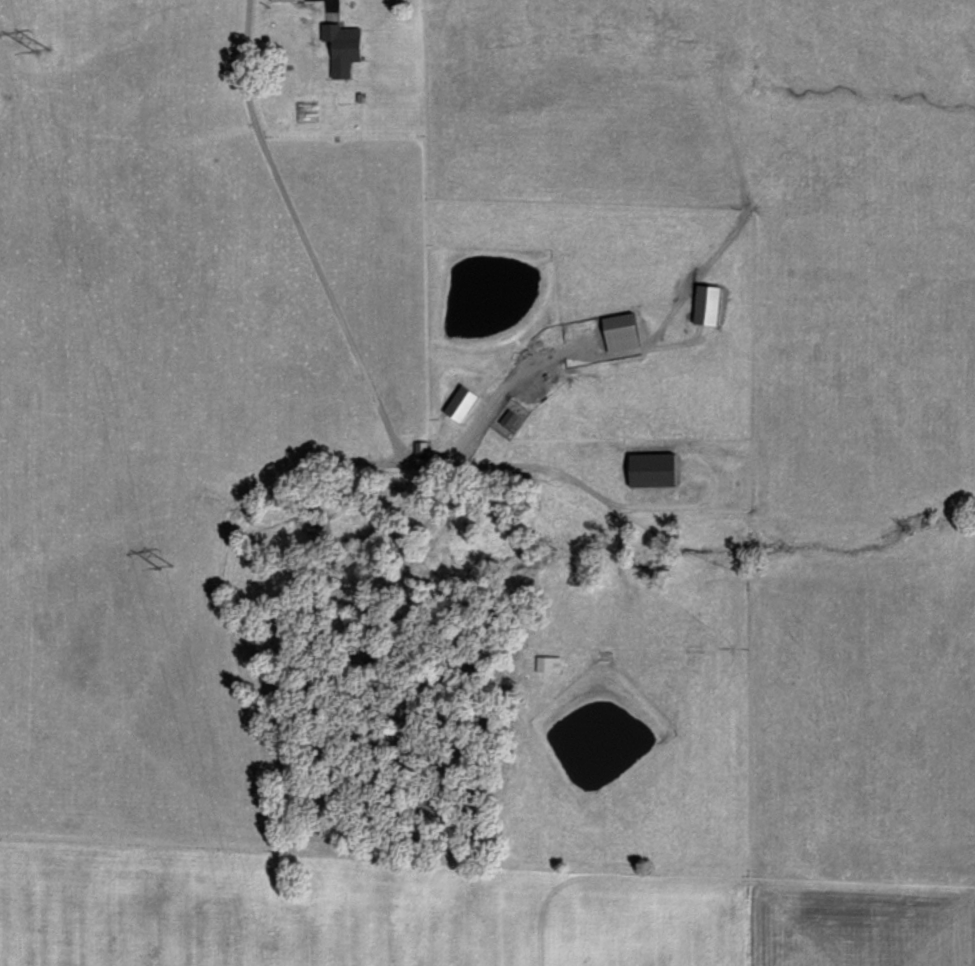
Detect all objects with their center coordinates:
building: (287, 1)
power tower: (41, 45)
building: (346, 47)
road: (302, 234)
building: (711, 304)
building: (625, 332)
building: (466, 402)
building: (658, 469)
power tower: (164, 565)
building: (550, 662)

